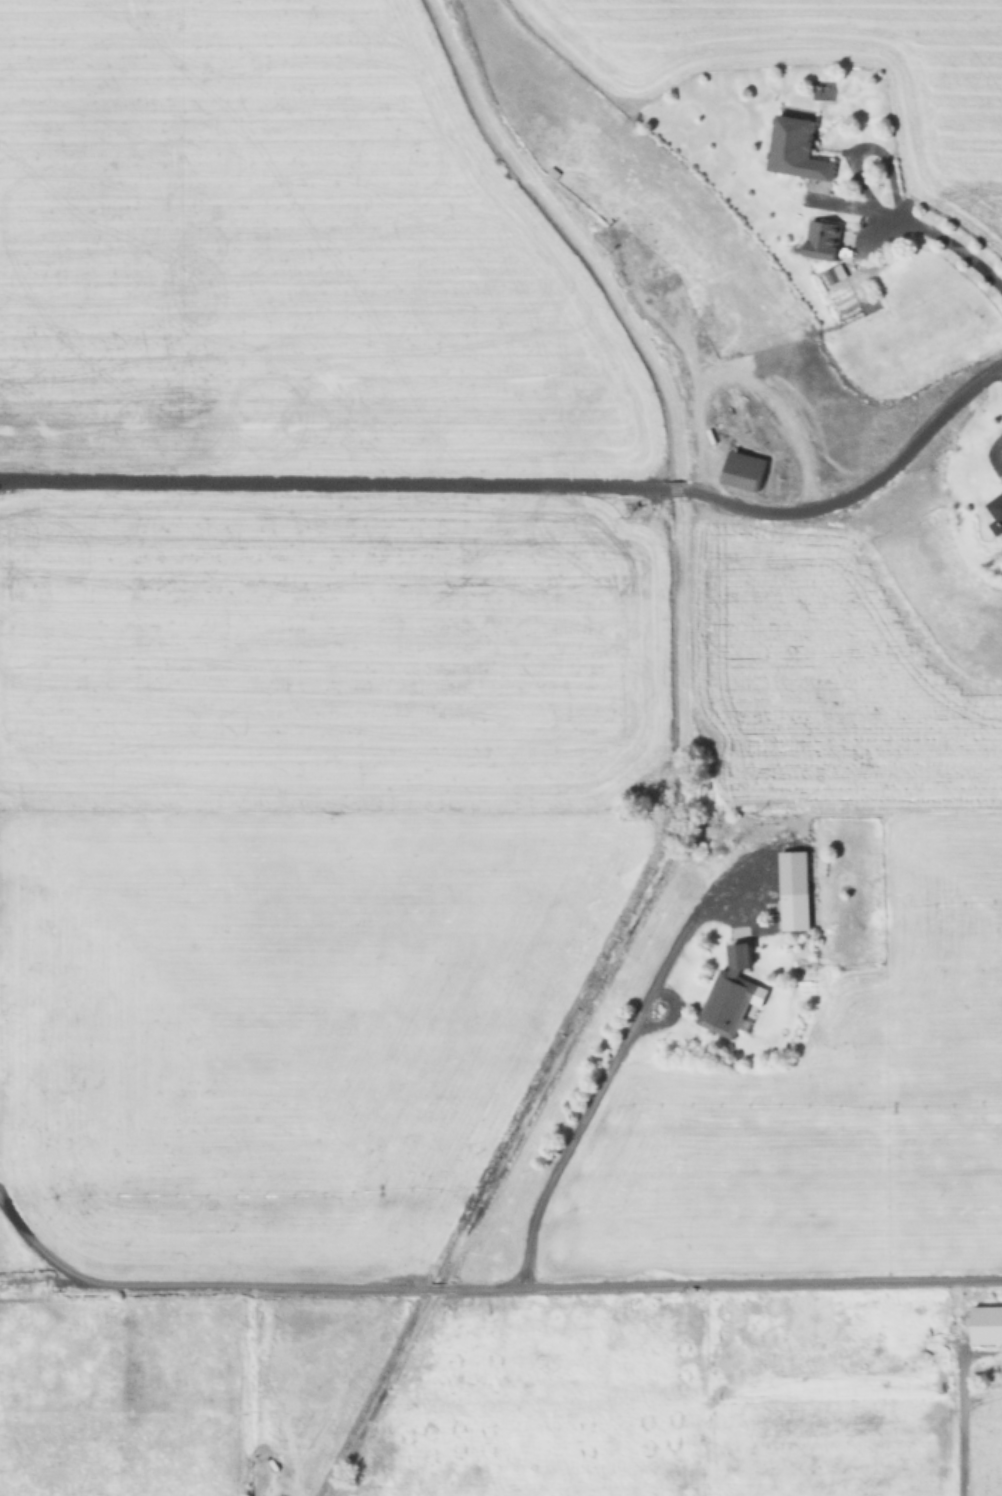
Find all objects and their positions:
road: (529, 486)
road: (501, 1286)

